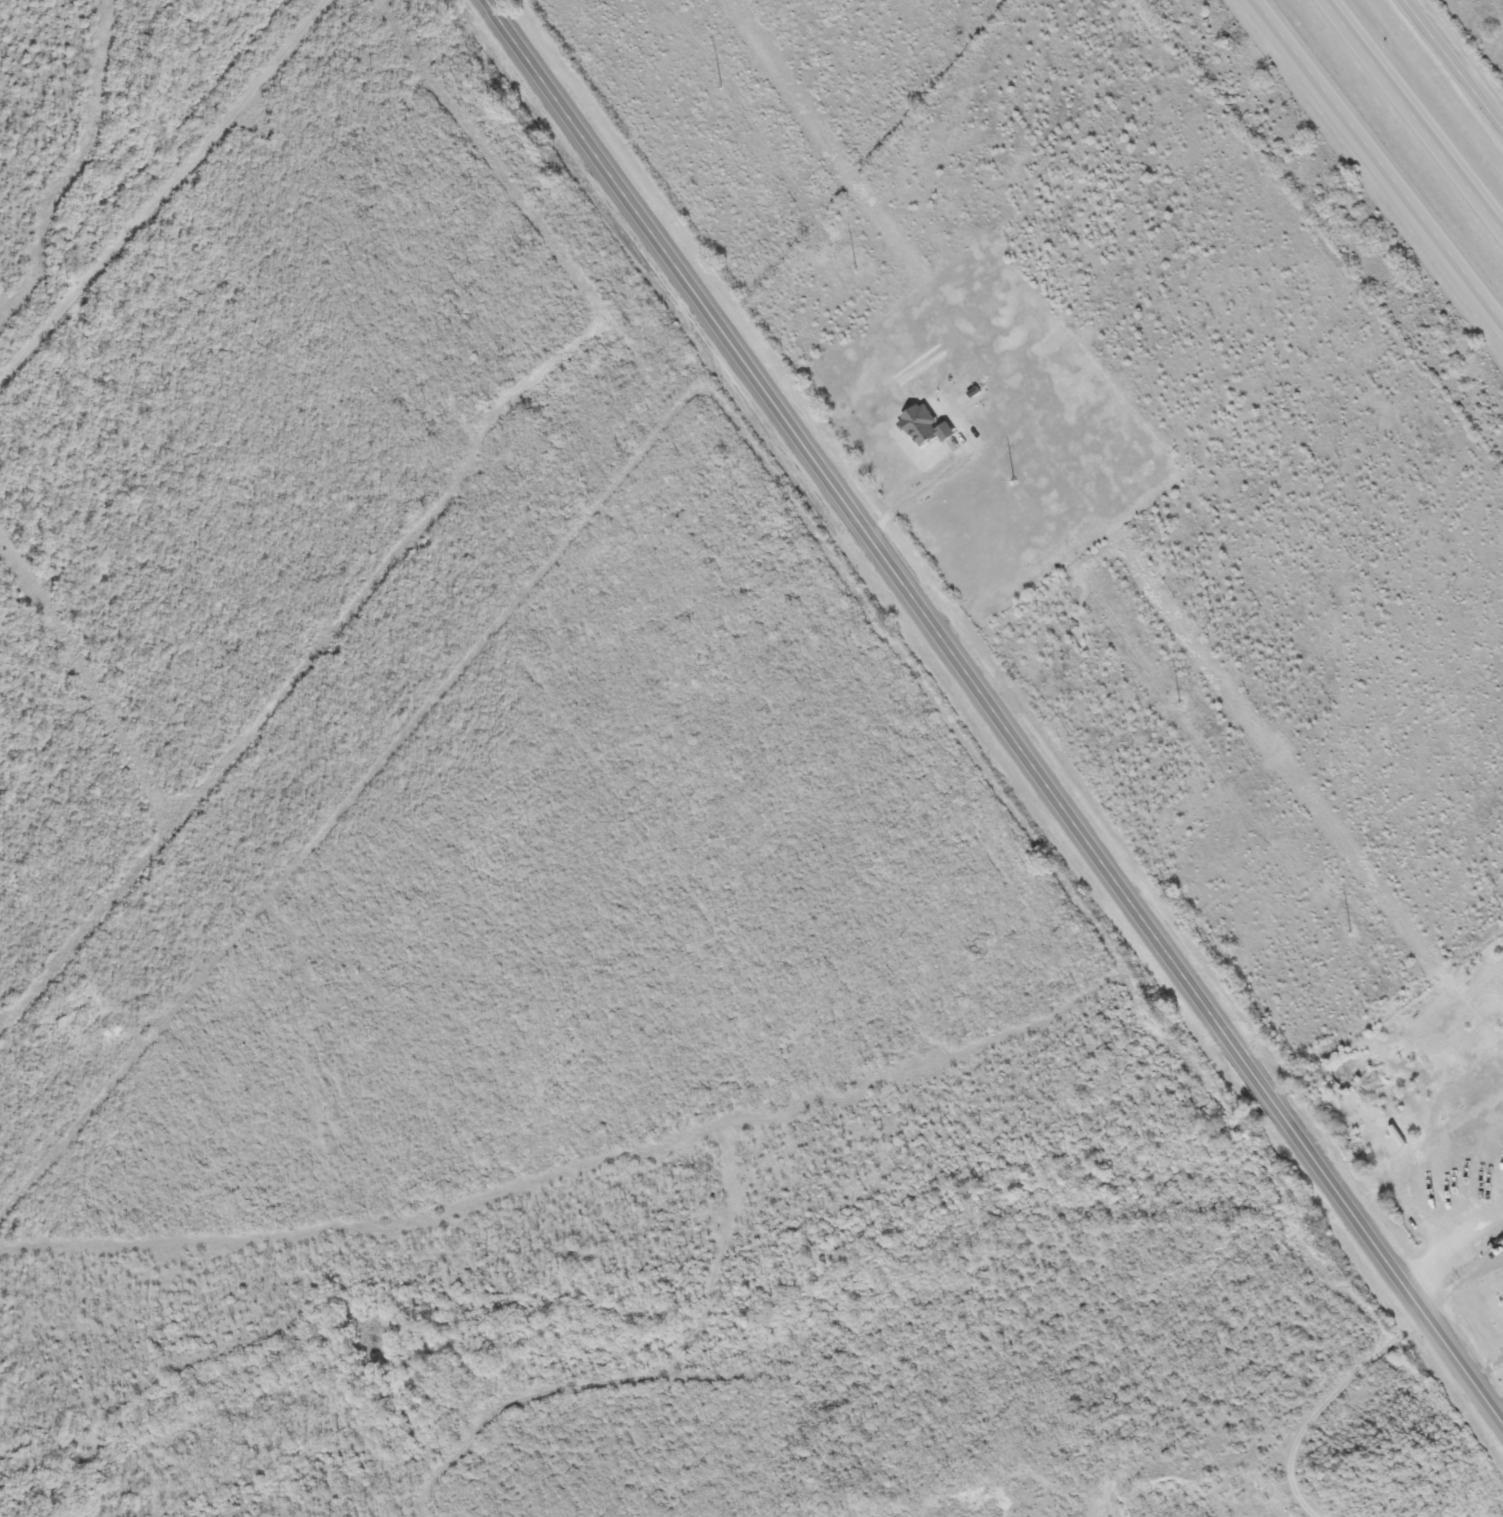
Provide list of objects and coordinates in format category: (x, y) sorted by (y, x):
road: (1453, 65)
power tower: (718, 90)
road: (1417, 111)
road: (1377, 164)
power tower: (856, 270)
power tower: (1013, 482)
power tower: (1178, 701)
road: (994, 713)
power tower: (1351, 933)

